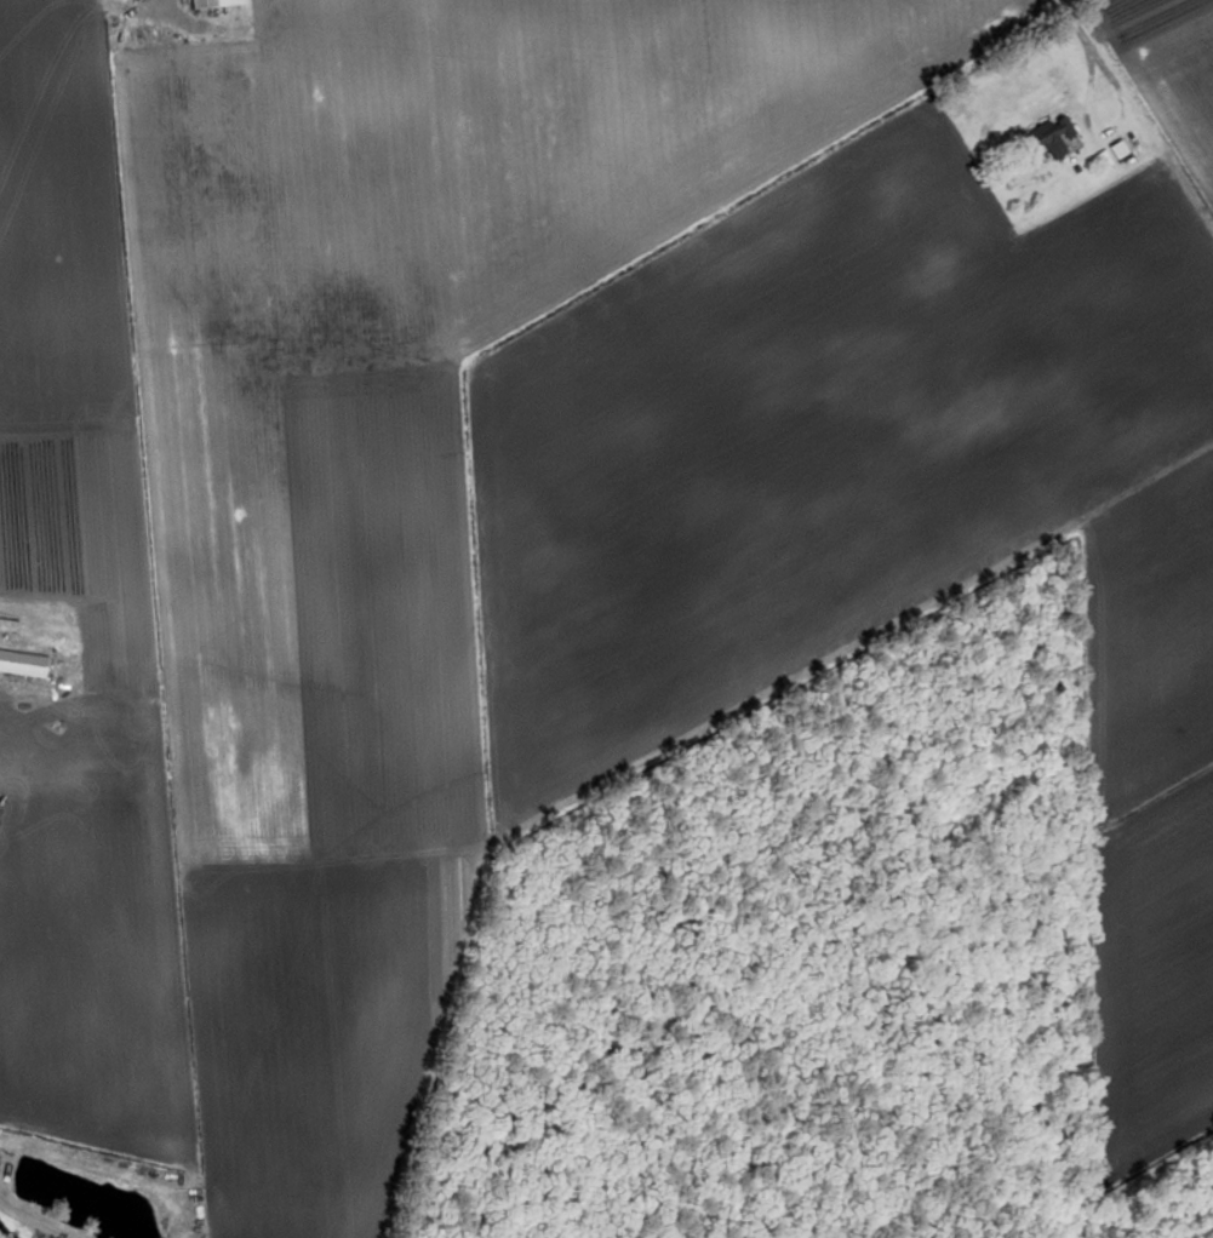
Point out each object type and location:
building: (219, 4)
road: (1080, 53)
building: (1058, 138)
building: (27, 665)

